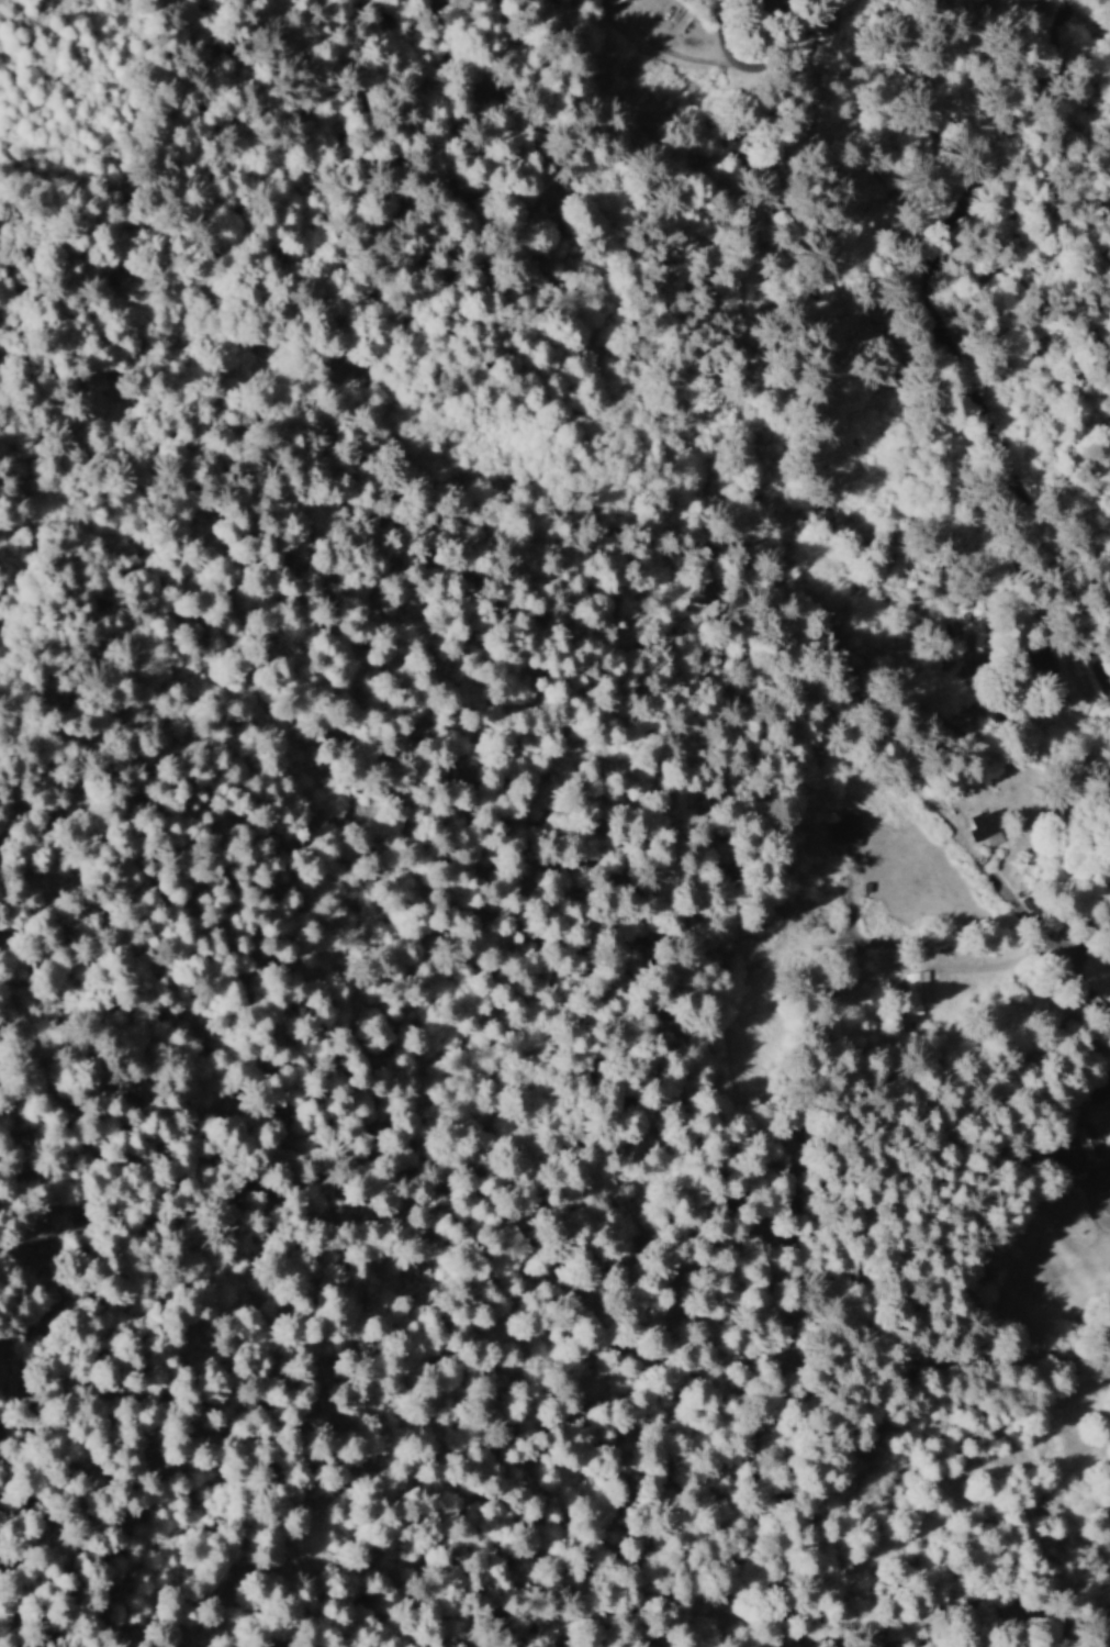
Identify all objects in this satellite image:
road: (943, 340)
road: (778, 545)
road: (675, 682)
road: (547, 809)
building: (986, 826)
road: (774, 901)
building: (917, 993)
road: (765, 1017)
road: (1050, 1573)

